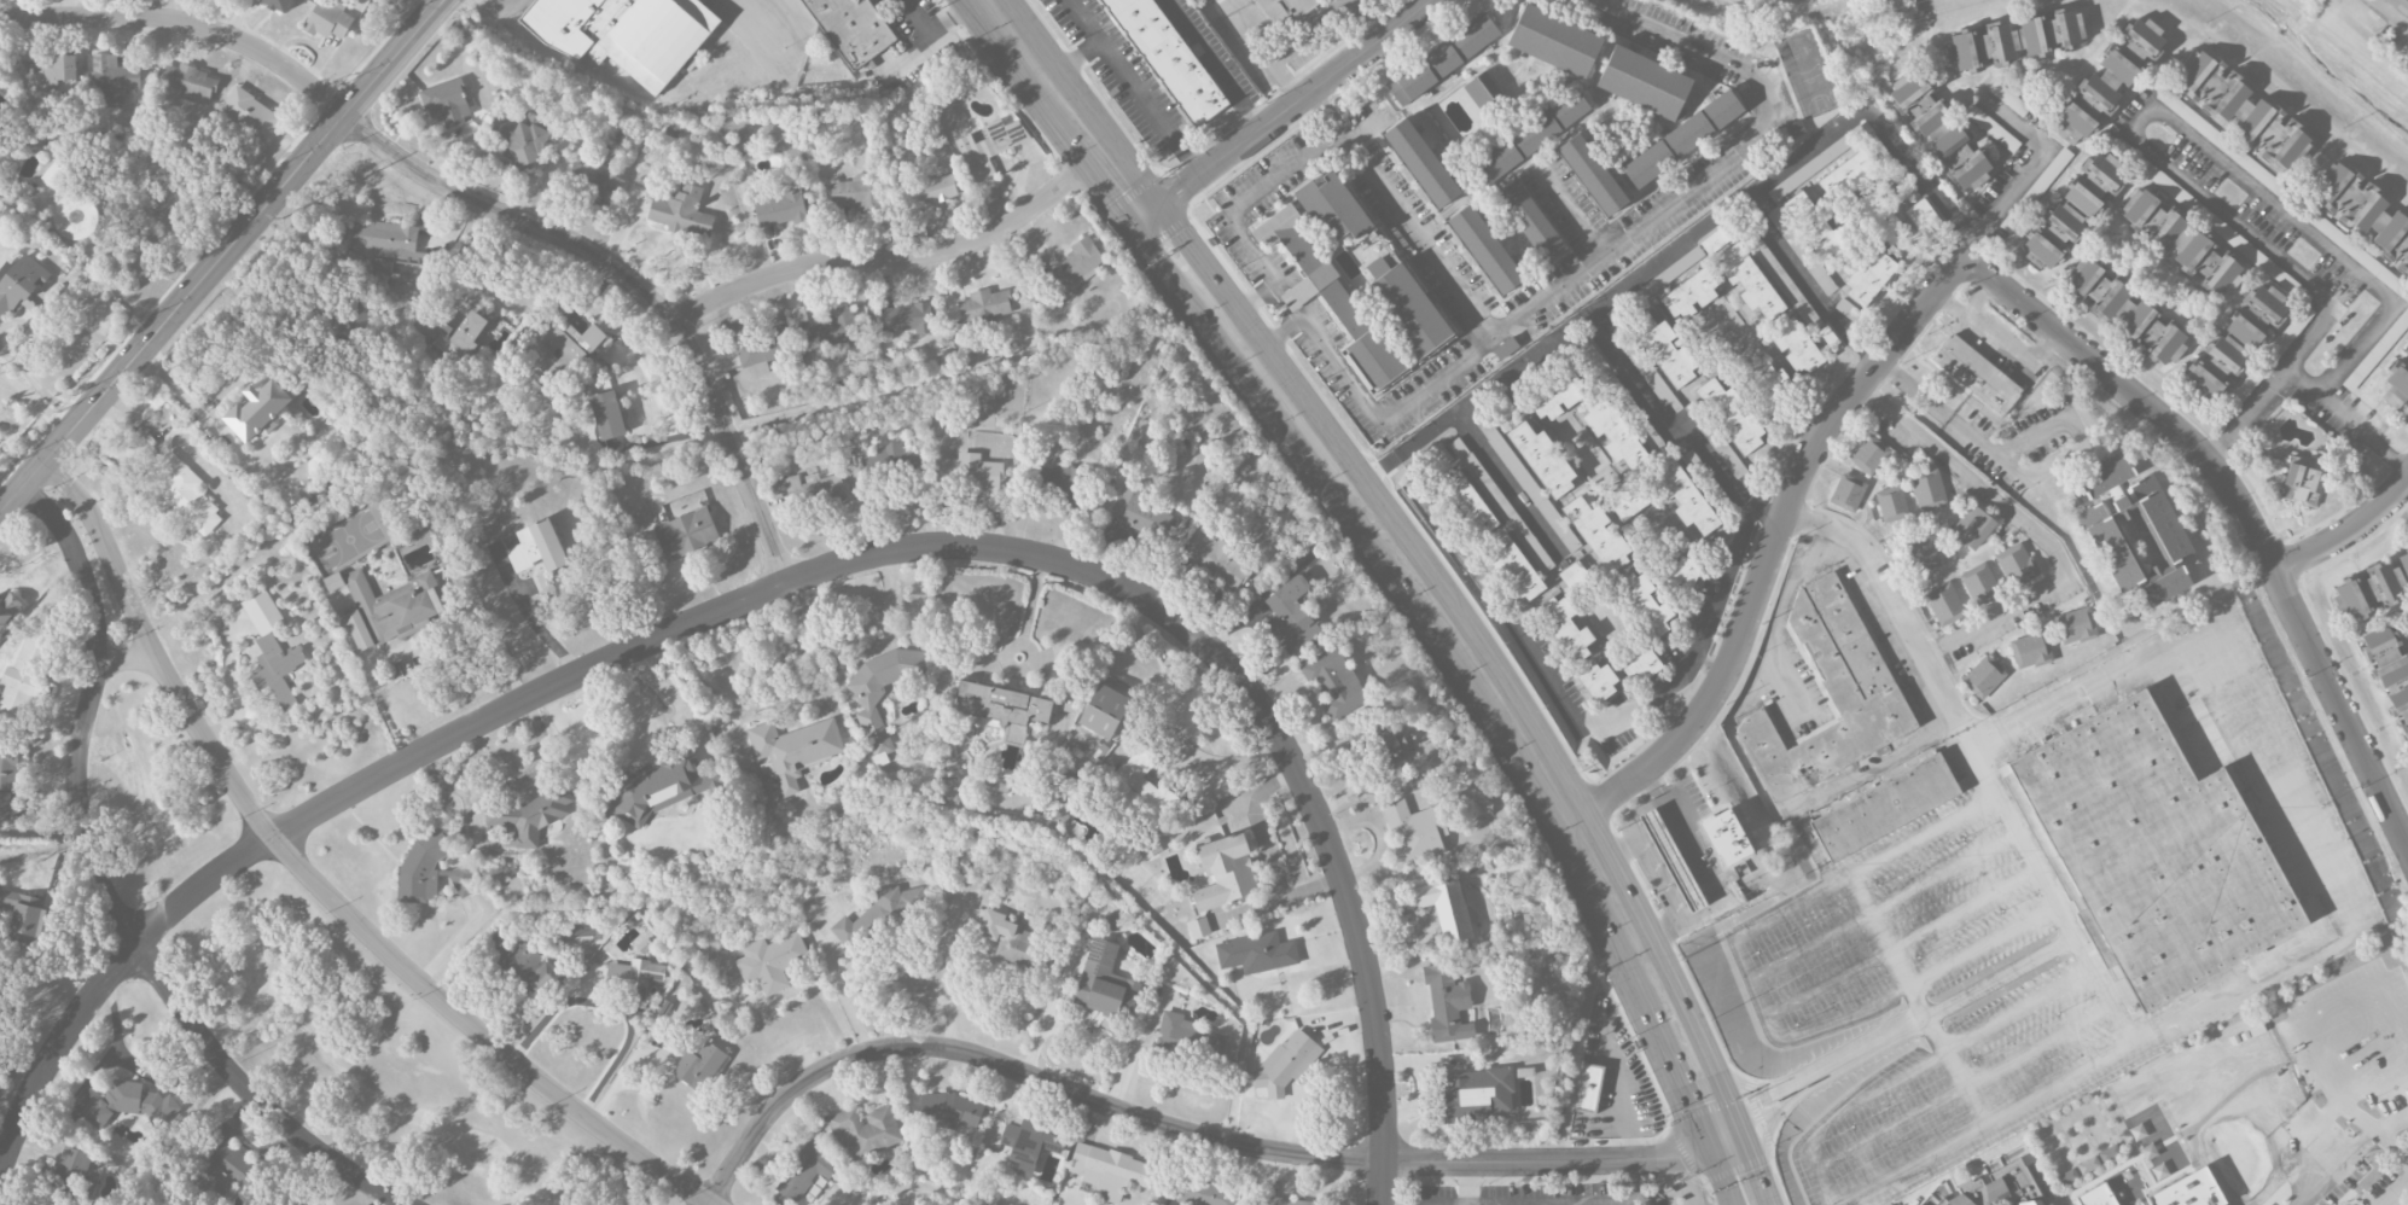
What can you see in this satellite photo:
building: (1206, 0)
building: (277, 5)
building: (2401, 6)
road: (506, 10)
building: (1285, 11)
road: (409, 12)
road: (2390, 14)
building: (327, 19)
road: (1366, 19)
building: (850, 29)
power tower: (1839, 30)
building: (624, 33)
building: (1554, 40)
building: (2014, 40)
building: (1168, 58)
road: (1262, 58)
building: (1441, 58)
road: (1072, 59)
road: (1221, 63)
building: (53, 69)
road: (783, 74)
building: (112, 77)
building: (2109, 78)
building: (1644, 82)
building: (186, 83)
road: (1136, 89)
building: (1484, 92)
building: (2007, 98)
building: (447, 103)
road: (1290, 109)
building: (2243, 109)
road: (1066, 110)
road: (1321, 112)
building: (249, 113)
building: (1927, 113)
building: (534, 117)
road: (2169, 120)
building: (2205, 129)
road: (1365, 130)
building: (1531, 135)
building: (1682, 138)
building: (518, 139)
building: (989, 149)
building: (1421, 162)
building: (1967, 167)
building: (1592, 175)
building: (1848, 175)
road: (2028, 175)
building: (57, 176)
building: (583, 177)
building: (856, 192)
building: (930, 192)
road: (471, 198)
building: (1332, 206)
building: (780, 209)
road: (1570, 209)
building: (2073, 210)
building: (2363, 210)
building: (682, 213)
building: (1921, 216)
building: (1878, 219)
power tower: (285, 220)
building: (1529, 220)
traffic signals: (1150, 221)
building: (1820, 231)
road: (149, 235)
building: (1714, 240)
road: (1681, 241)
building: (2181, 241)
building: (384, 243)
building: (1485, 249)
building: (1802, 251)
road: (223, 254)
building: (2358, 256)
road: (895, 257)
building: (1076, 266)
building: (1670, 273)
building: (1869, 279)
road: (1808, 280)
building: (1782, 281)
building: (1749, 283)
building: (1328, 293)
building: (1689, 295)
road: (1978, 299)
building: (983, 304)
building: (1407, 307)
building: (2124, 310)
building: (907, 318)
building: (465, 333)
road: (28, 336)
road: (1489, 337)
road: (1995, 338)
building: (796, 339)
building: (2235, 342)
building: (1505, 348)
building: (1797, 348)
building: (562, 349)
building: (1664, 350)
road: (14, 360)
building: (1592, 360)
building: (1974, 373)
road: (2299, 377)
building: (2397, 383)
building: (1772, 384)
power tower: (140, 386)
road: (1913, 388)
building: (1558, 396)
road: (52, 398)
road: (35, 400)
building: (1501, 409)
building: (258, 411)
road: (1374, 413)
building: (982, 414)
building: (606, 415)
building: (1731, 415)
road: (1679, 424)
building: (1613, 433)
building: (1720, 446)
building: (1869, 454)
building: (1437, 456)
building: (894, 459)
building: (1542, 459)
road: (2059, 459)
building: (967, 472)
building: (1060, 481)
building: (2302, 481)
road: (1506, 482)
building: (1528, 485)
building: (1927, 488)
building: (182, 490)
building: (813, 490)
building: (1846, 491)
building: (1683, 497)
building: (1627, 500)
building: (1891, 502)
building: (1468, 505)
road: (2244, 507)
building: (1505, 511)
building: (1139, 512)
building: (1972, 526)
road: (2032, 529)
building: (2133, 529)
building: (686, 534)
building: (1598, 534)
building: (419, 535)
road: (2348, 535)
road: (1772, 546)
building: (537, 547)
building: (1923, 552)
building: (1216, 559)
building: (2017, 564)
building: (1513, 570)
building: (1681, 575)
building: (1574, 576)
building: (333, 581)
road: (789, 582)
building: (1979, 583)
building: (2372, 587)
road: (1716, 594)
road: (889, 604)
building: (1645, 604)
building: (1943, 604)
building: (7, 607)
building: (391, 609)
road: (529, 615)
building: (1290, 616)
building: (2075, 624)
building: (1566, 629)
building: (2030, 648)
building: (272, 650)
road: (1470, 657)
road: (2194, 658)
road: (127, 660)
building: (1640, 665)
building: (24, 675)
building: (2390, 675)
building: (1983, 676)
building: (1599, 681)
building: (1333, 683)
building: (1830, 694)
road: (720, 695)
road: (679, 702)
building: (867, 702)
road: (2076, 702)
building: (1005, 709)
building: (1104, 711)
road: (1594, 718)
building: (1390, 747)
building: (793, 750)
road: (2290, 758)
road: (1745, 761)
road: (1984, 774)
building: (7, 782)
road: (2253, 785)
building: (656, 787)
building: (950, 788)
building: (1142, 788)
building: (1883, 807)
road: (1633, 815)
building: (530, 816)
building: (1413, 833)
building: (1724, 837)
building: (1147, 848)
building: (2153, 848)
road: (1268, 855)
building: (1671, 860)
building: (421, 865)
road: (1697, 875)
building: (463, 880)
building: (1221, 881)
road: (2325, 881)
road: (318, 883)
road: (1687, 891)
road: (101, 893)
building: (1446, 908)
road: (1705, 910)
building: (24, 916)
building: (1112, 921)
road: (1658, 921)
road: (1756, 926)
building: (1017, 944)
road: (2325, 950)
building: (1256, 953)
building: (519, 960)
building: (770, 961)
road: (831, 966)
road: (953, 976)
building: (633, 977)
building: (1105, 983)
road: (798, 988)
building: (1447, 1003)
road: (613, 1005)
road: (2187, 1012)
road: (1049, 1019)
building: (1187, 1037)
road: (1857, 1055)
road: (2310, 1059)
building: (699, 1066)
building: (1284, 1066)
road: (2076, 1073)
road: (1737, 1081)
building: (1588, 1088)
building: (1476, 1094)
building: (129, 1104)
building: (949, 1111)
road: (1756, 1114)
road: (1625, 1116)
road: (2357, 1118)
road: (1175, 1127)
road: (1768, 1128)
building: (865, 1129)
traffic signals: (1720, 1136)
road: (2381, 1137)
building: (1029, 1145)
road: (1751, 1165)
building: (71, 1166)
building: (228, 1170)
building: (805, 1171)
building: (1107, 1171)
road: (1720, 1171)
building: (2066, 1176)
road: (1383, 1182)
road: (1638, 1182)
road: (1470, 1183)
building: (1999, 1187)
road: (2395, 1192)
building: (1284, 1201)
road: (1572, 1203)

